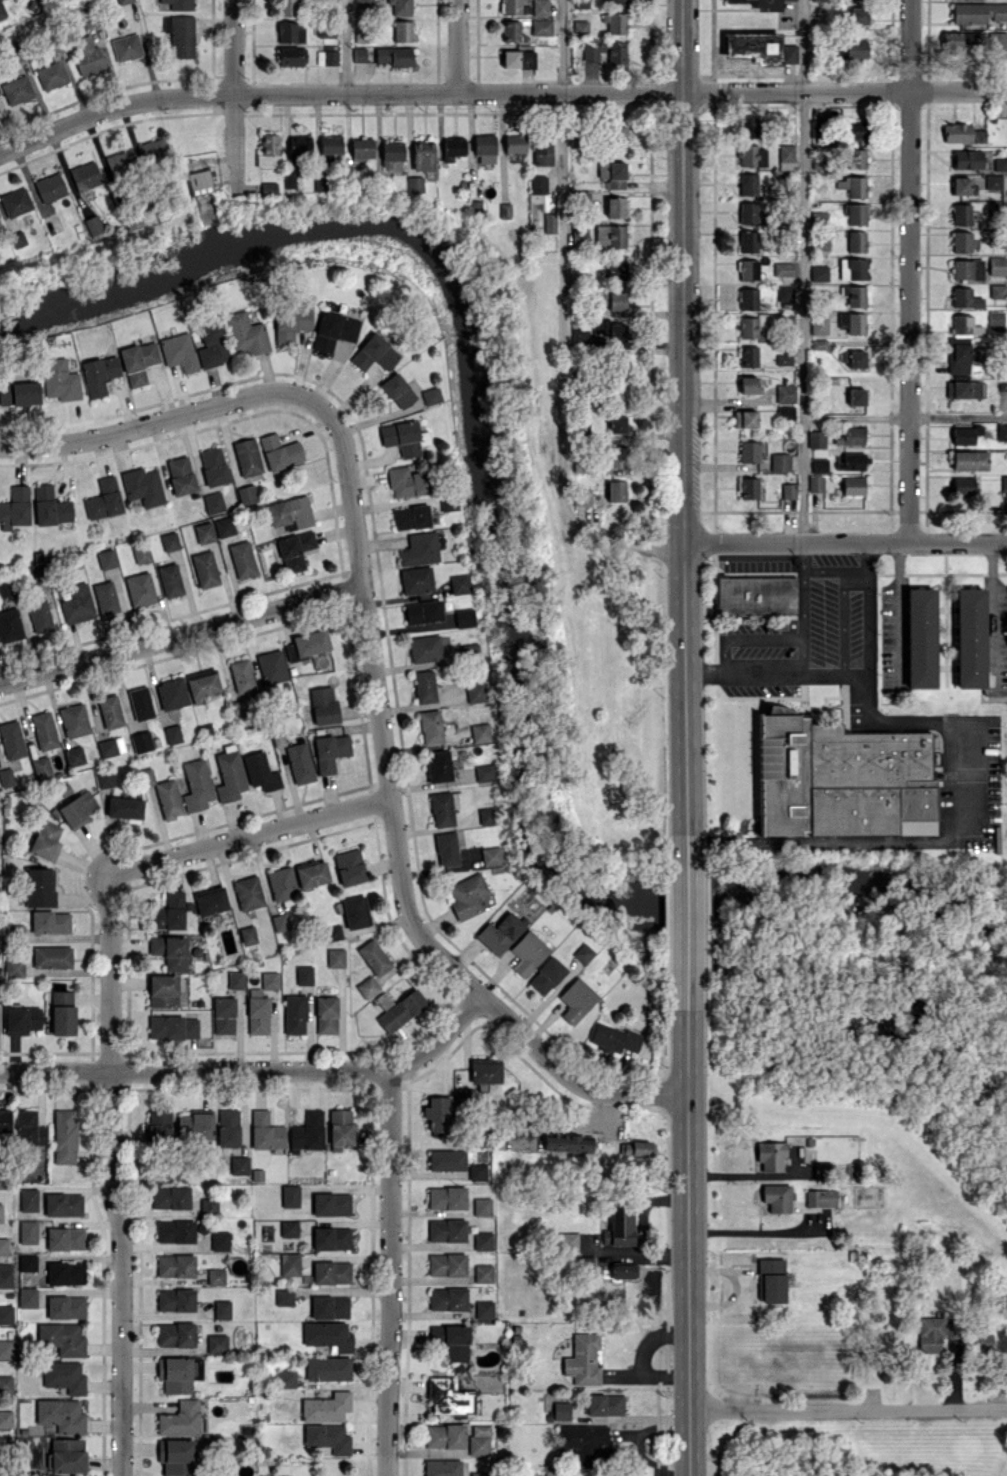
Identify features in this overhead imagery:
building: (814, 0)
building: (760, 4)
building: (513, 7)
building: (540, 7)
building: (978, 12)
building: (858, 15)
building: (615, 22)
building: (541, 26)
building: (580, 27)
building: (512, 31)
building: (999, 40)
building: (959, 41)
road: (345, 45)
road: (562, 45)
road: (458, 46)
building: (759, 47)
building: (855, 48)
building: (604, 50)
building: (518, 58)
road: (498, 91)
road: (234, 96)
building: (747, 126)
building: (816, 127)
building: (856, 130)
building: (956, 132)
building: (616, 134)
building: (978, 135)
building: (514, 142)
building: (452, 147)
building: (483, 149)
building: (541, 149)
building: (785, 152)
building: (422, 155)
building: (751, 155)
building: (855, 158)
building: (967, 159)
building: (1000, 164)
building: (611, 173)
building: (993, 181)
building: (537, 184)
building: (747, 184)
building: (960, 185)
building: (852, 186)
building: (615, 207)
building: (504, 210)
building: (747, 212)
building: (856, 213)
building: (961, 214)
building: (548, 223)
building: (579, 235)
building: (609, 236)
building: (748, 241)
building: (856, 241)
building: (961, 241)
building: (996, 265)
building: (782, 268)
building: (851, 268)
road: (909, 269)
building: (967, 269)
building: (748, 270)
road: (801, 270)
building: (817, 273)
building: (997, 291)
building: (784, 292)
building: (854, 295)
building: (748, 298)
building: (965, 298)
building: (612, 300)
building: (996, 320)
building: (852, 322)
building: (818, 325)
building: (964, 325)
building: (748, 327)
building: (612, 332)
building: (578, 338)
building: (818, 343)
building: (748, 356)
building: (959, 357)
building: (853, 358)
building: (783, 359)
road: (560, 366)
building: (749, 384)
building: (964, 389)
building: (618, 392)
building: (785, 392)
building: (1002, 392)
building: (430, 395)
building: (856, 396)
road: (685, 412)
building: (785, 412)
road: (904, 415)
building: (744, 418)
road: (155, 420)
building: (616, 423)
building: (1001, 431)
building: (965, 434)
building: (850, 435)
building: (816, 439)
building: (748, 451)
building: (616, 456)
building: (970, 460)
building: (780, 461)
building: (851, 461)
building: (818, 464)
building: (815, 483)
building: (853, 485)
building: (962, 485)
building: (747, 487)
building: (616, 490)
building: (788, 490)
building: (581, 496)
building: (449, 502)
road: (845, 540)
building: (418, 548)
river: (501, 570)
road: (819, 572)
road: (852, 572)
building: (416, 579)
building: (459, 583)
building: (755, 595)
road: (864, 605)
building: (422, 611)
road: (898, 611)
road: (991, 616)
building: (464, 617)
building: (920, 637)
building: (969, 637)
road: (180, 638)
building: (424, 648)
building: (468, 650)
road: (742, 670)
road: (820, 670)
road: (853, 670)
building: (423, 686)
building: (475, 691)
road: (866, 692)
road: (374, 705)
building: (430, 726)
building: (479, 732)
building: (439, 765)
building: (484, 772)
building: (840, 778)
building: (441, 809)
building: (488, 815)
road: (247, 836)
road: (949, 840)
building: (446, 849)
building: (490, 855)
building: (466, 896)
road: (686, 912)
building: (500, 932)
building: (527, 952)
building: (583, 952)
building: (546, 975)
building: (576, 999)
building: (613, 1039)
building: (485, 1070)
road: (255, 1074)
road: (570, 1078)
building: (464, 1096)
building: (437, 1113)
building: (567, 1144)
building: (634, 1148)
building: (770, 1156)
building: (446, 1159)
building: (821, 1169)
building: (477, 1171)
road: (118, 1174)
building: (446, 1197)
building: (777, 1197)
building: (820, 1197)
building: (481, 1206)
building: (620, 1227)
road: (754, 1229)
building: (446, 1230)
road: (688, 1238)
building: (482, 1240)
building: (568, 1241)
building: (446, 1264)
building: (624, 1270)
building: (483, 1273)
road: (390, 1275)
building: (770, 1284)
building: (447, 1298)
building: (484, 1309)
building: (933, 1332)
building: (451, 1340)
building: (984, 1341)
building: (582, 1359)
building: (449, 1396)
building: (604, 1404)
road: (848, 1408)
building: (561, 1410)
building: (445, 1435)
building: (479, 1440)
building: (584, 1442)
building: (442, 1467)
building: (480, 1473)

